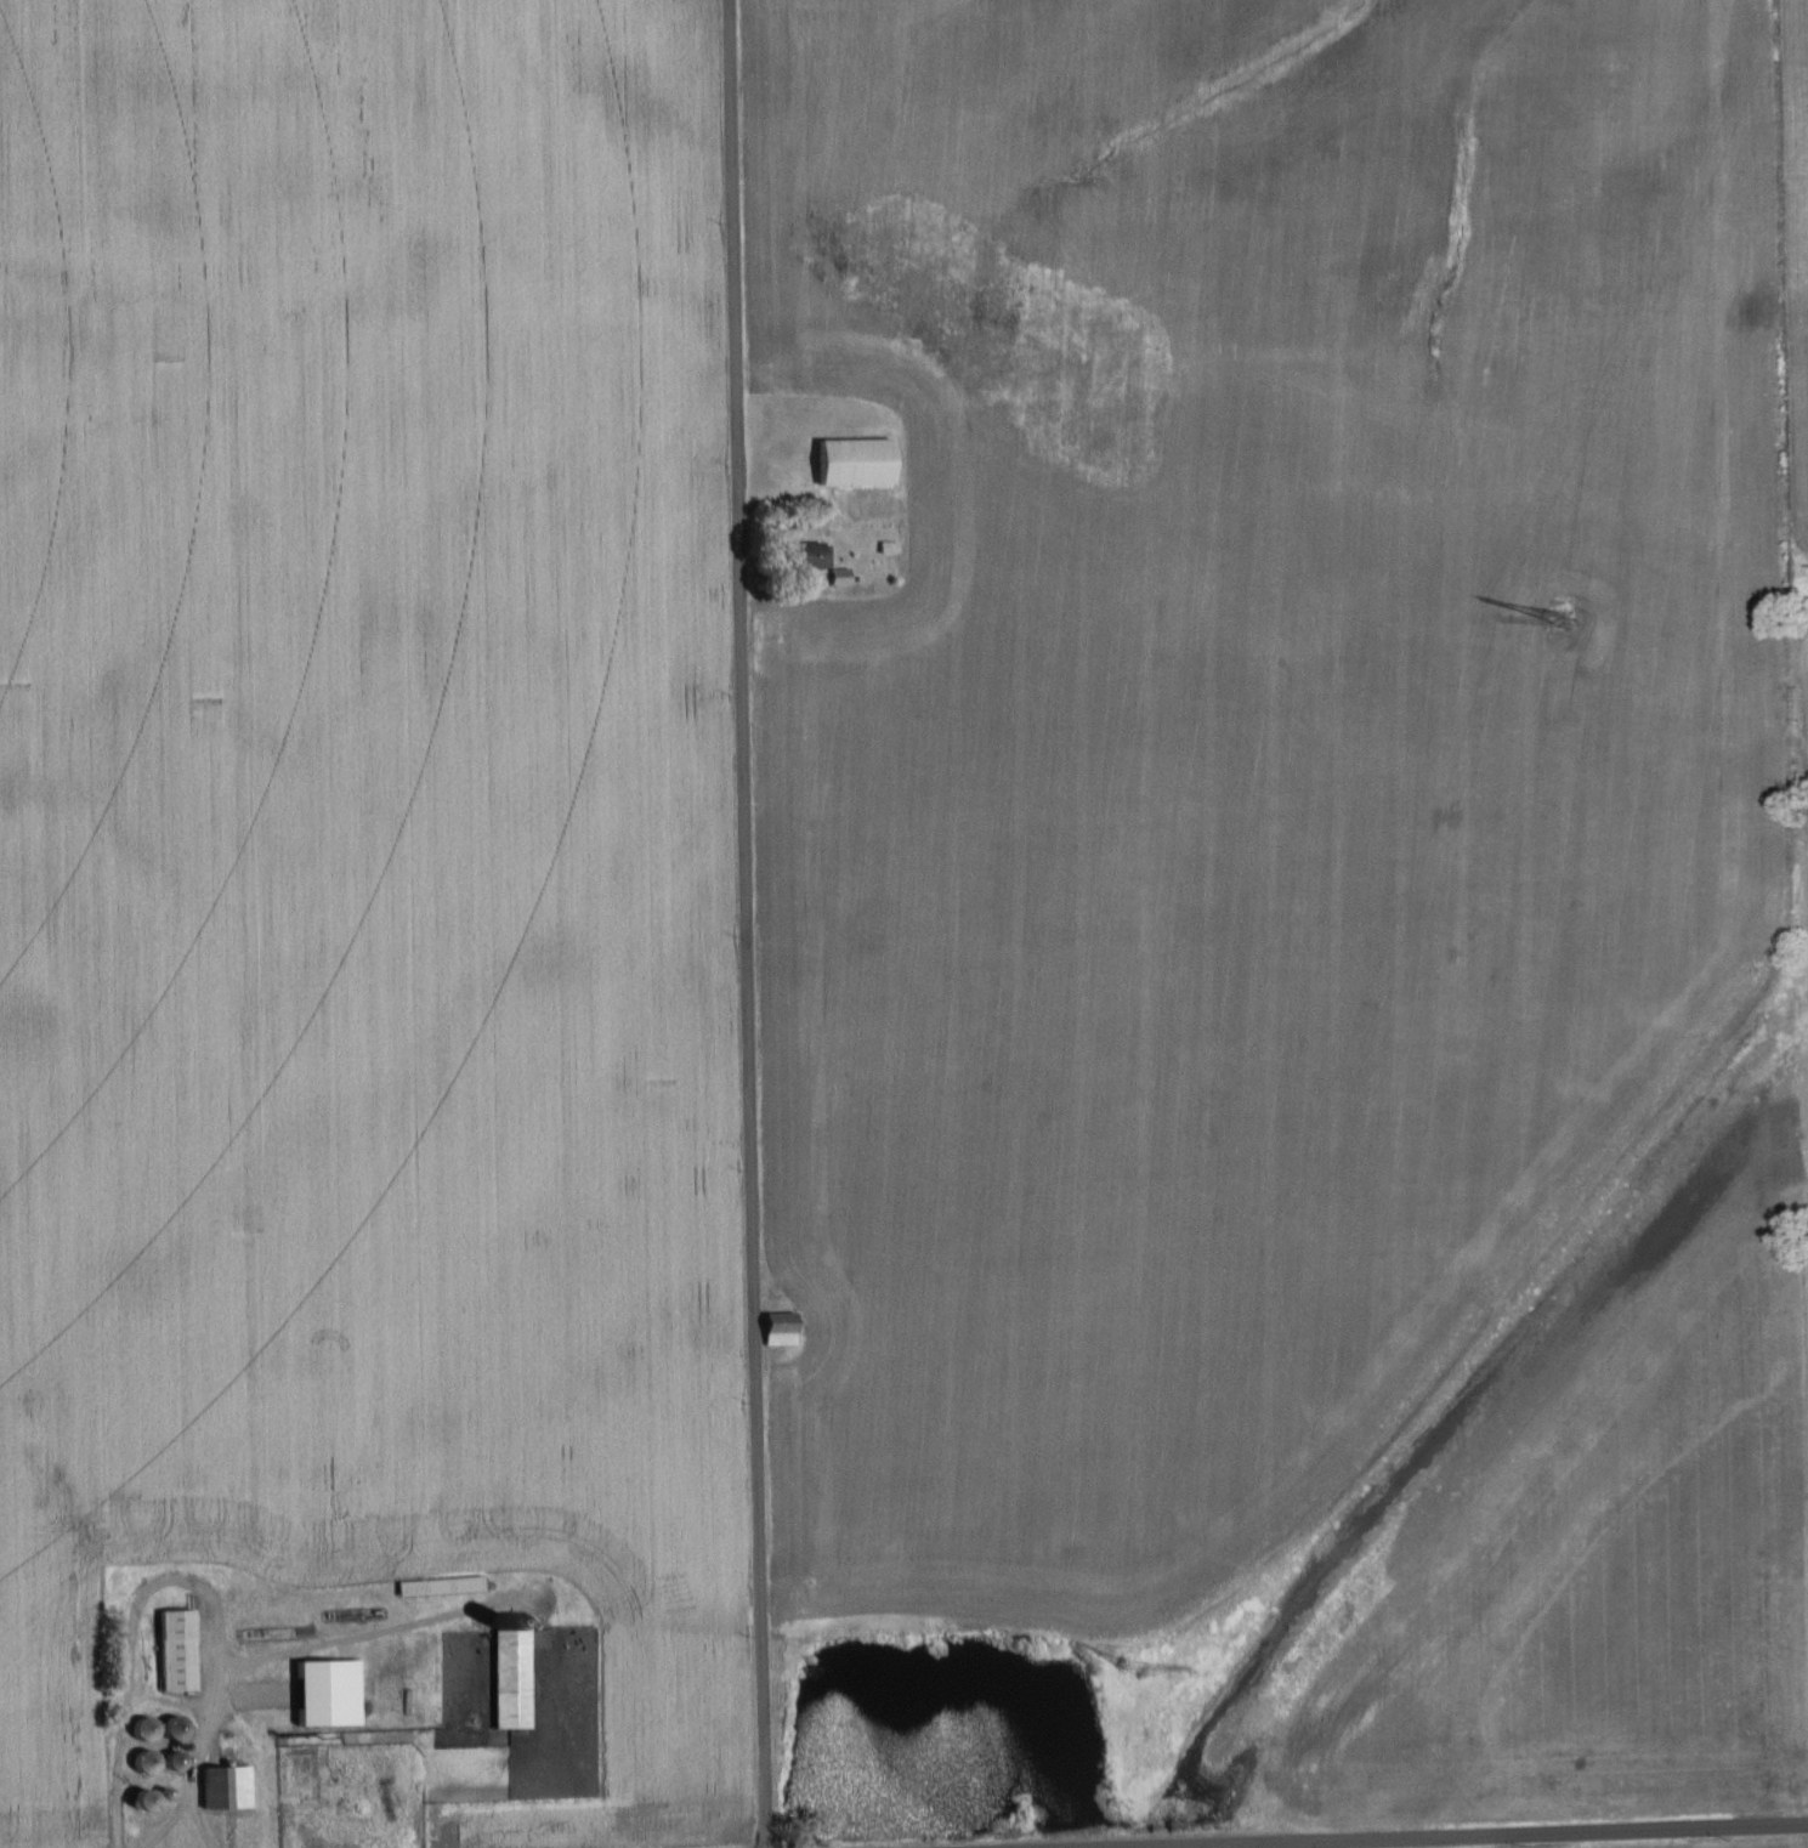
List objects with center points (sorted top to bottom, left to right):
building: (857, 463)
road: (743, 924)
building: (782, 1328)
building: (180, 1649)
building: (514, 1671)
building: (330, 1693)
road: (158, 1713)
building: (228, 1787)
road: (1553, 1837)

